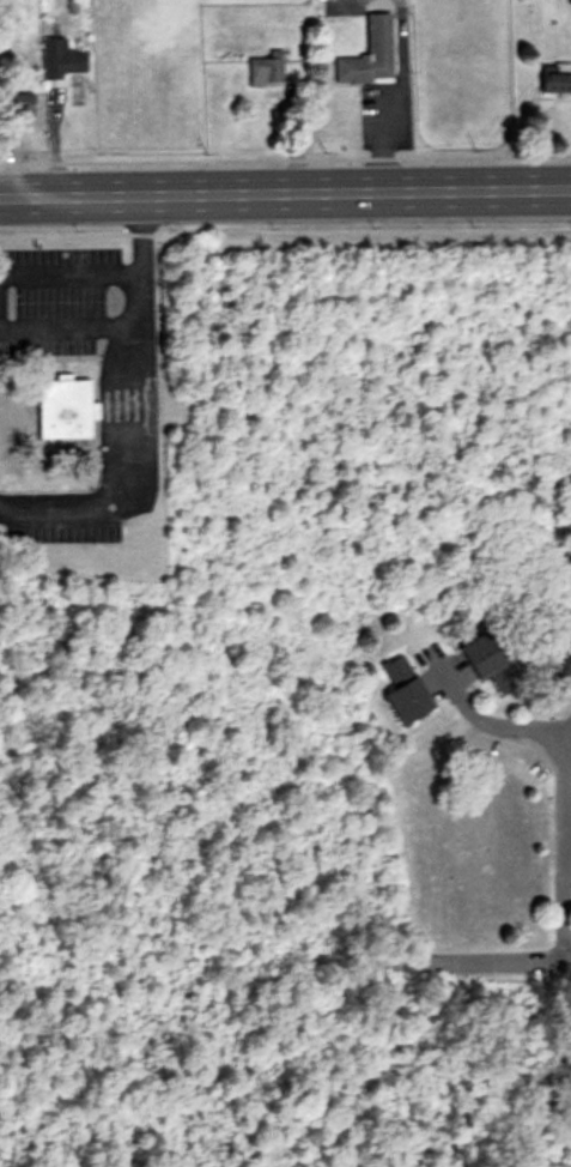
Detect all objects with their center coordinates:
building: (367, 54)
building: (60, 59)
building: (265, 69)
building: (555, 83)
road: (377, 97)
building: (18, 104)
road: (285, 194)
road: (68, 277)
road: (126, 320)
building: (78, 409)
building: (490, 660)
building: (558, 661)
building: (403, 690)
road: (476, 720)
road: (565, 842)
road: (476, 960)

